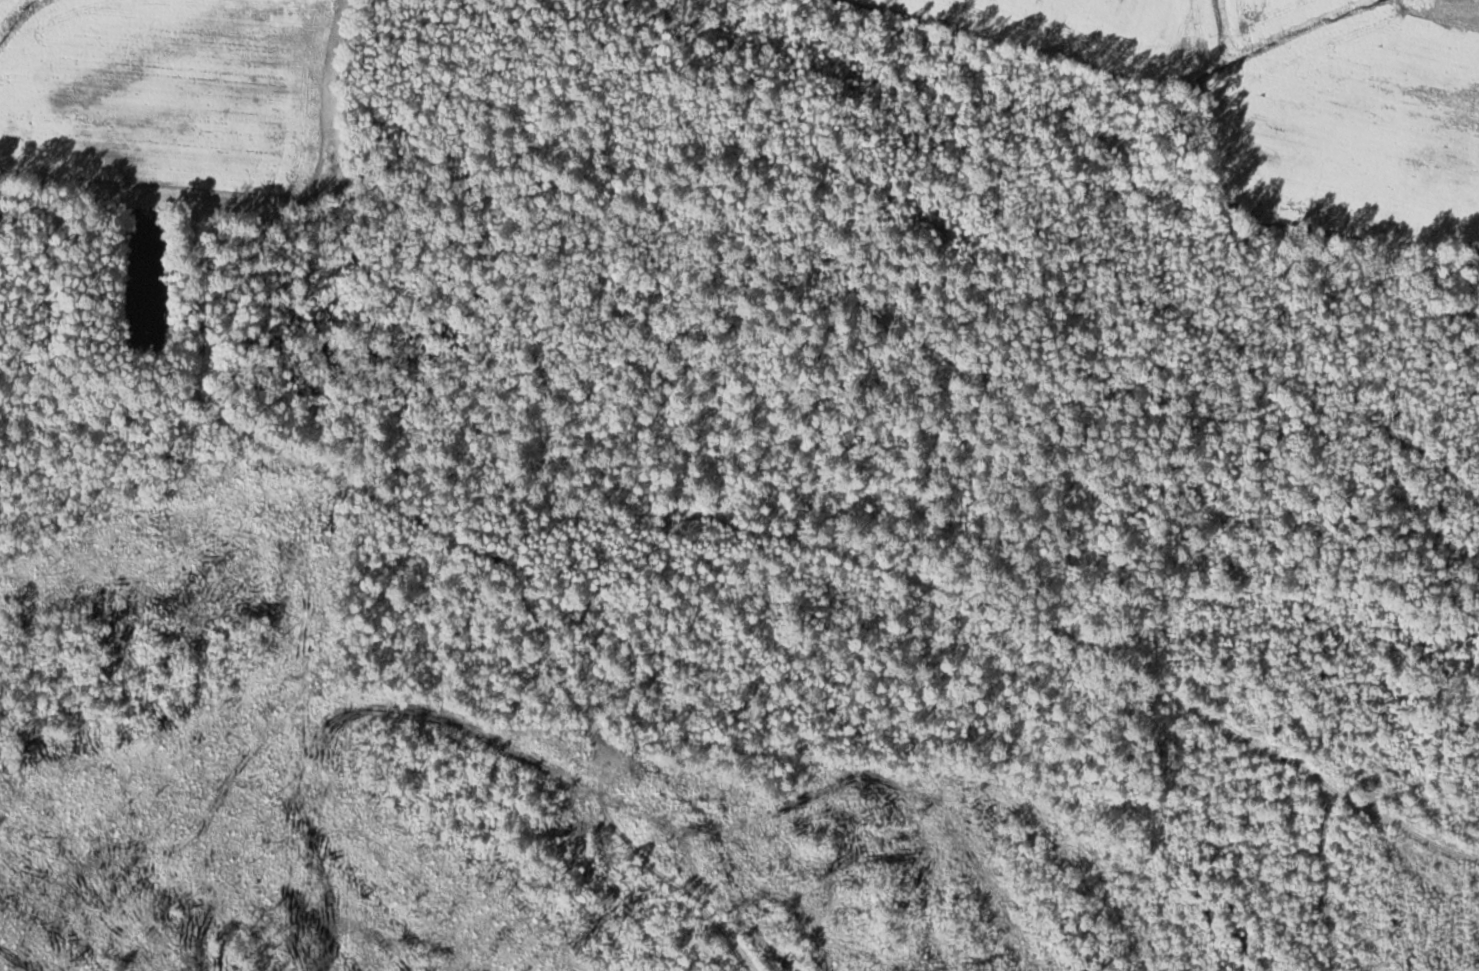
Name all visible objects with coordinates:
river: (761, 113)

